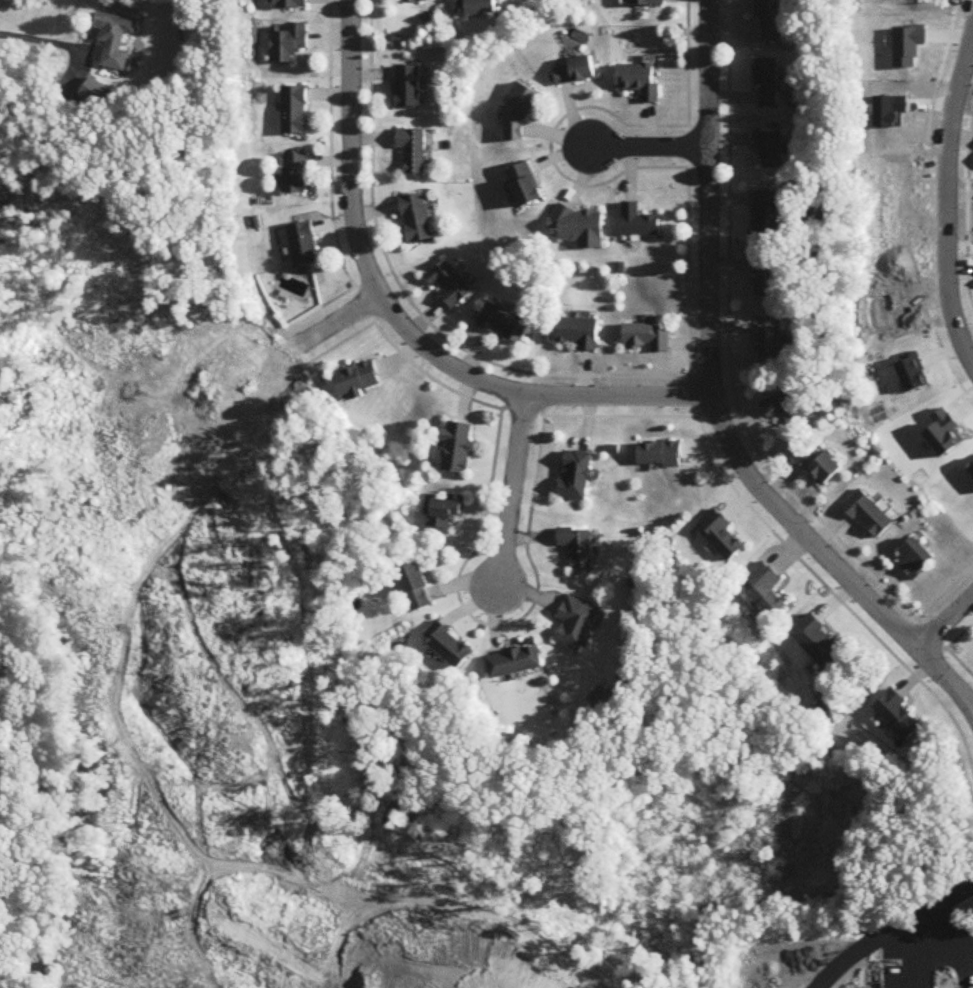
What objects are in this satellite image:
building: (648, 3)
building: (287, 4)
building: (480, 7)
building: (772, 19)
building: (114, 35)
road: (42, 41)
building: (288, 43)
building: (575, 73)
building: (639, 82)
building: (768, 84)
building: (409, 88)
building: (294, 111)
road: (648, 148)
building: (771, 150)
building: (414, 151)
building: (296, 174)
building: (525, 186)
road: (946, 188)
building: (767, 214)
building: (417, 219)
building: (639, 223)
building: (580, 227)
building: (303, 244)
building: (767, 279)
building: (451, 285)
road: (339, 320)
road: (399, 322)
building: (506, 324)
building: (580, 334)
building: (645, 339)
building: (769, 345)
building: (360, 381)
road: (714, 406)
building: (784, 410)
building: (459, 448)
building: (659, 456)
building: (818, 466)
building: (574, 476)
road: (511, 488)
building: (447, 512)
building: (867, 515)
building: (720, 535)
building: (575, 547)
building: (913, 559)
building: (416, 589)
building: (766, 590)
road: (945, 622)
building: (575, 623)
building: (818, 641)
building: (447, 644)
building: (513, 662)
building: (898, 715)
road: (933, 950)

